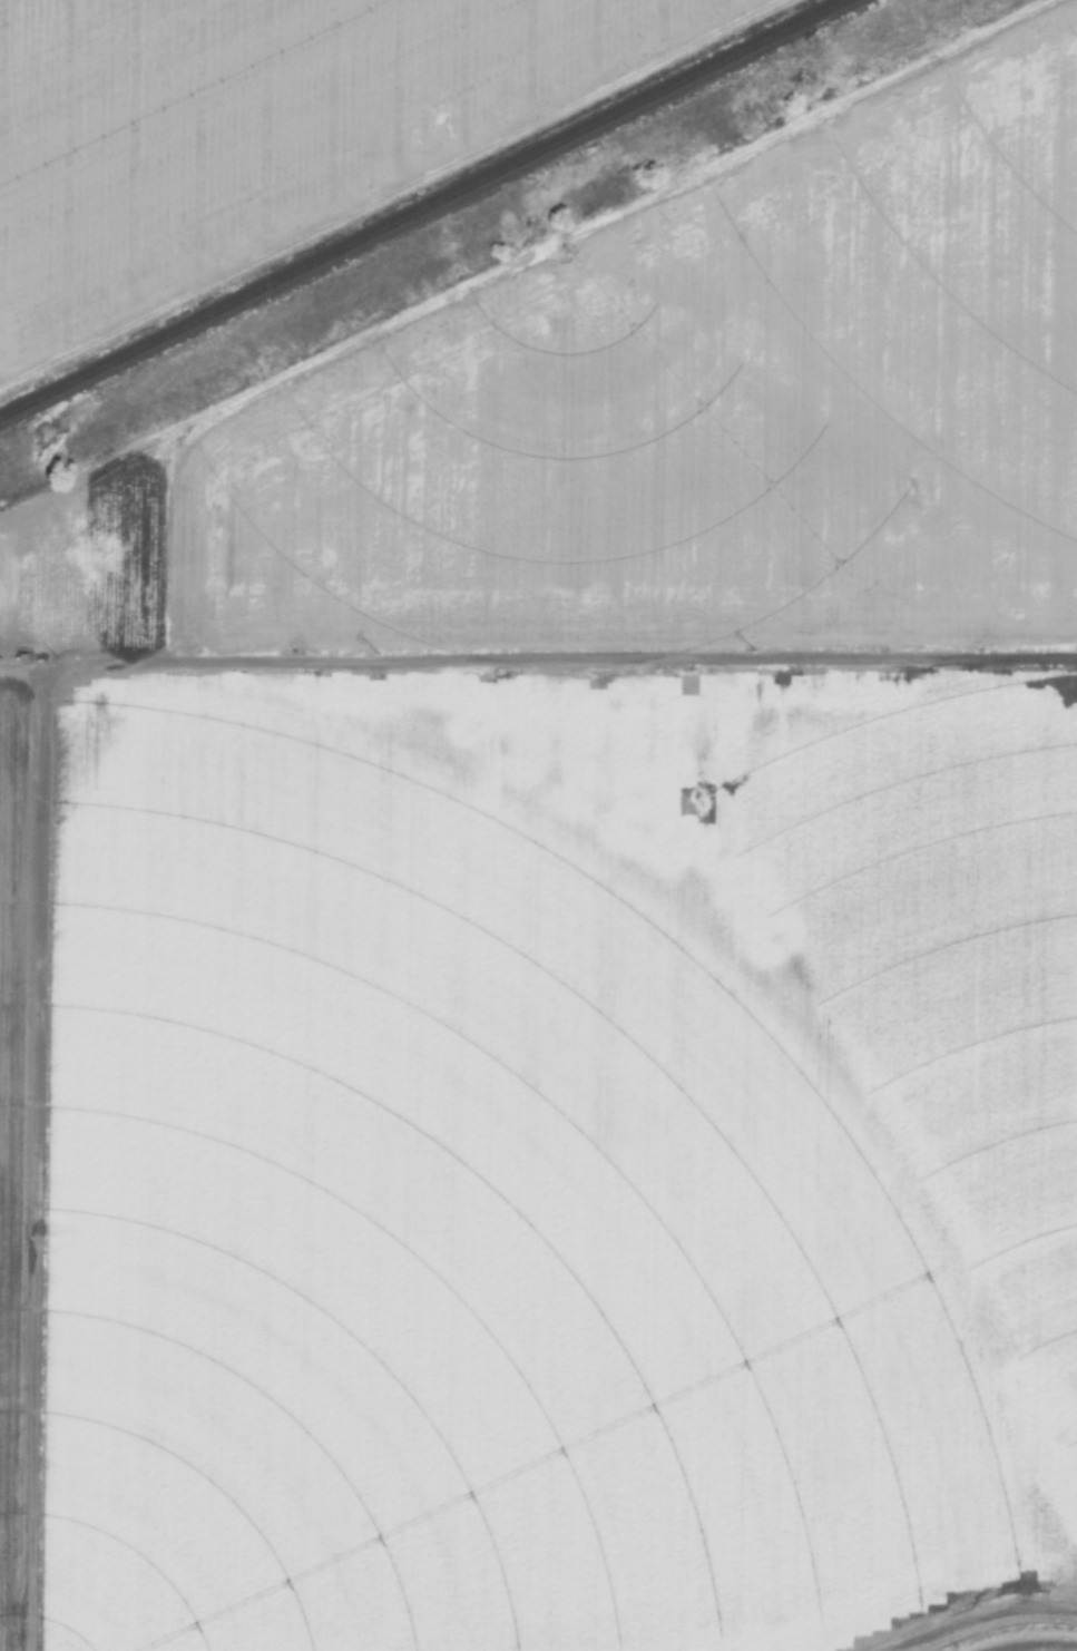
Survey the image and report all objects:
crop: (263, 130)
railway: (442, 211)
road: (538, 654)

